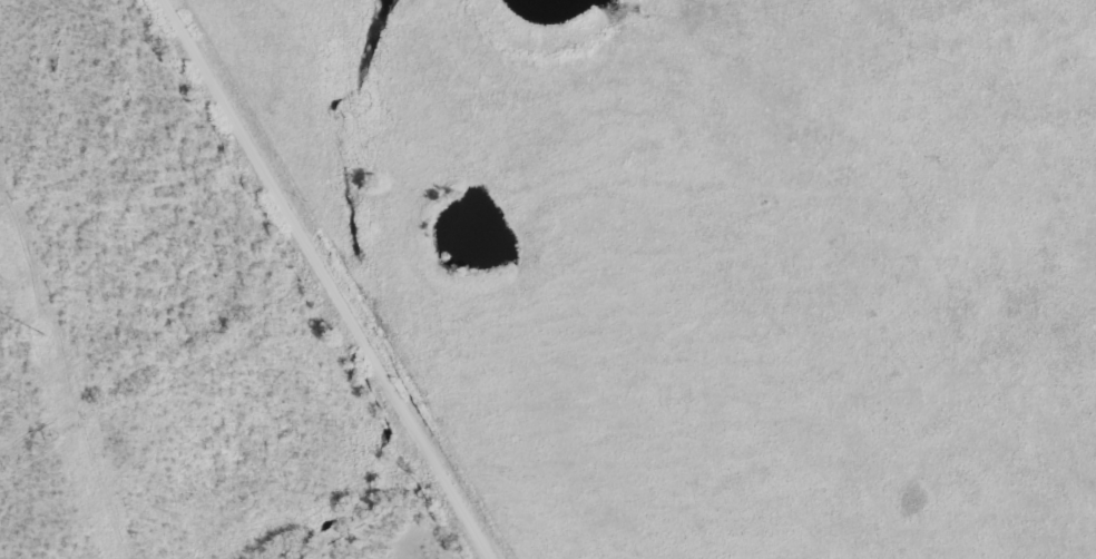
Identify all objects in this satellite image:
road: (333, 279)
power tower: (45, 331)

